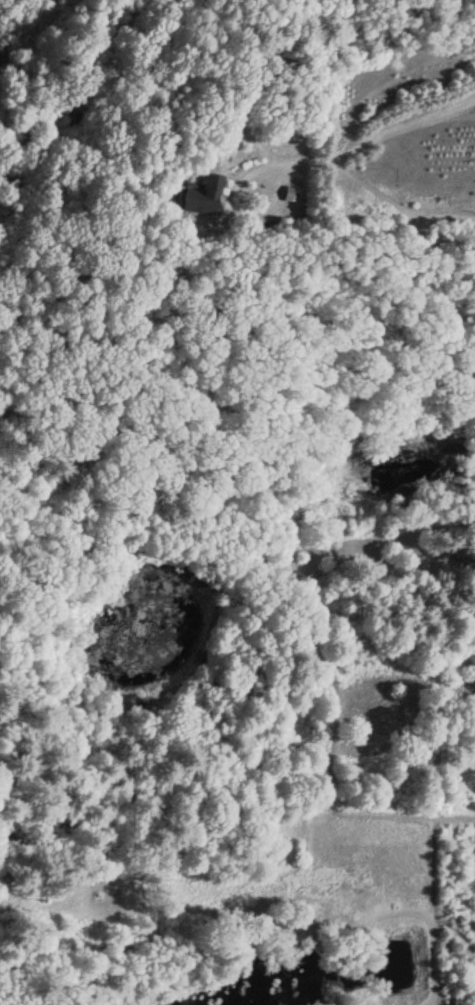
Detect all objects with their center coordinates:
building: (291, 195)
building: (200, 196)

